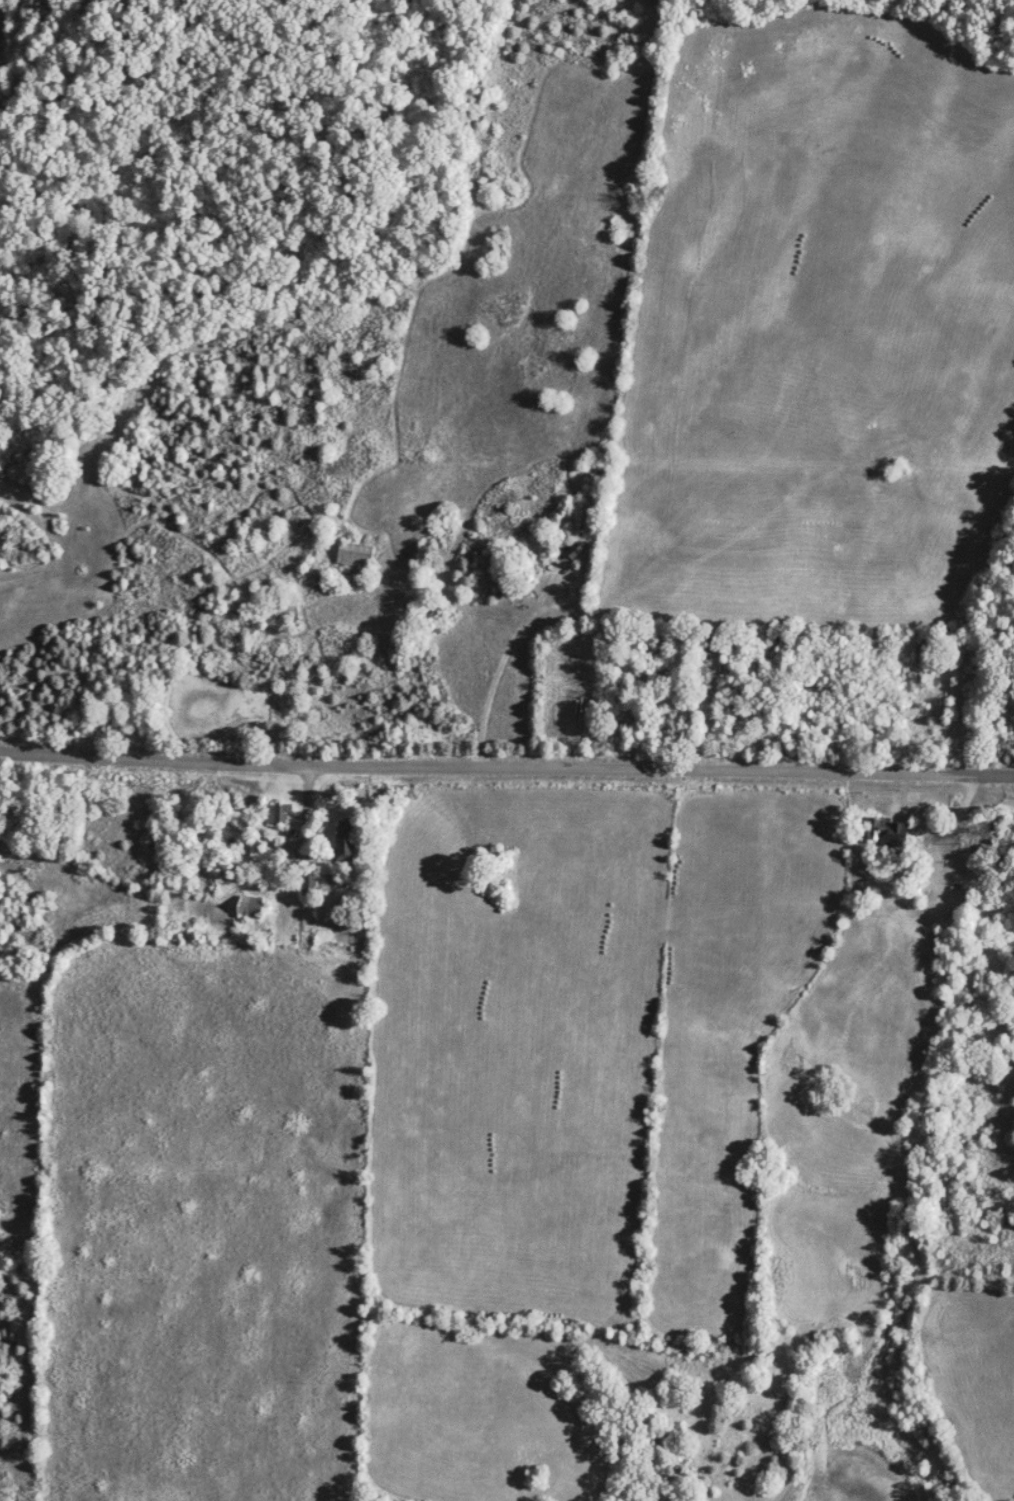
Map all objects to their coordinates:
building: (356, 552)
road: (462, 600)
building: (288, 611)
road: (506, 764)
building: (278, 811)
road: (970, 812)
road: (301, 816)
building: (994, 817)
building: (892, 830)
building: (346, 838)
building: (996, 847)
building: (310, 879)
building: (250, 905)

